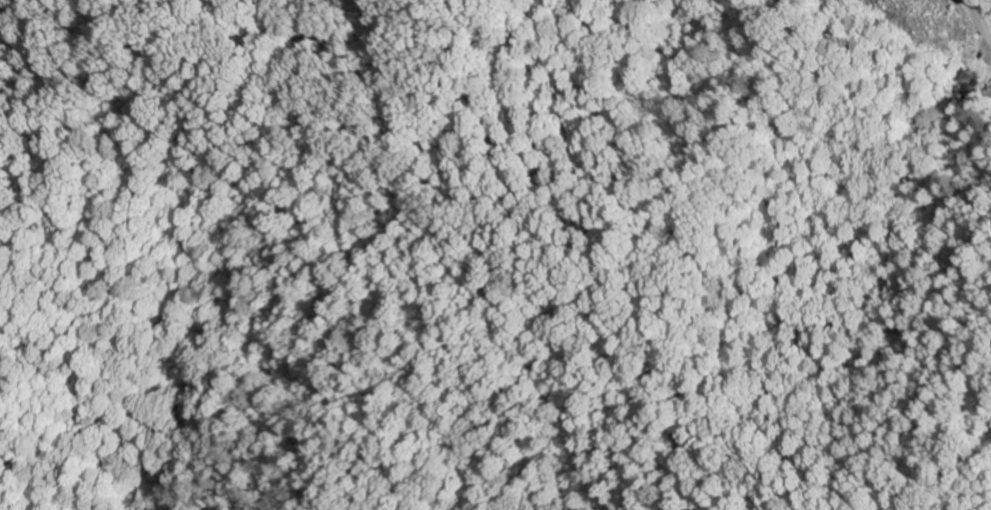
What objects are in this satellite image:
road: (978, 20)

